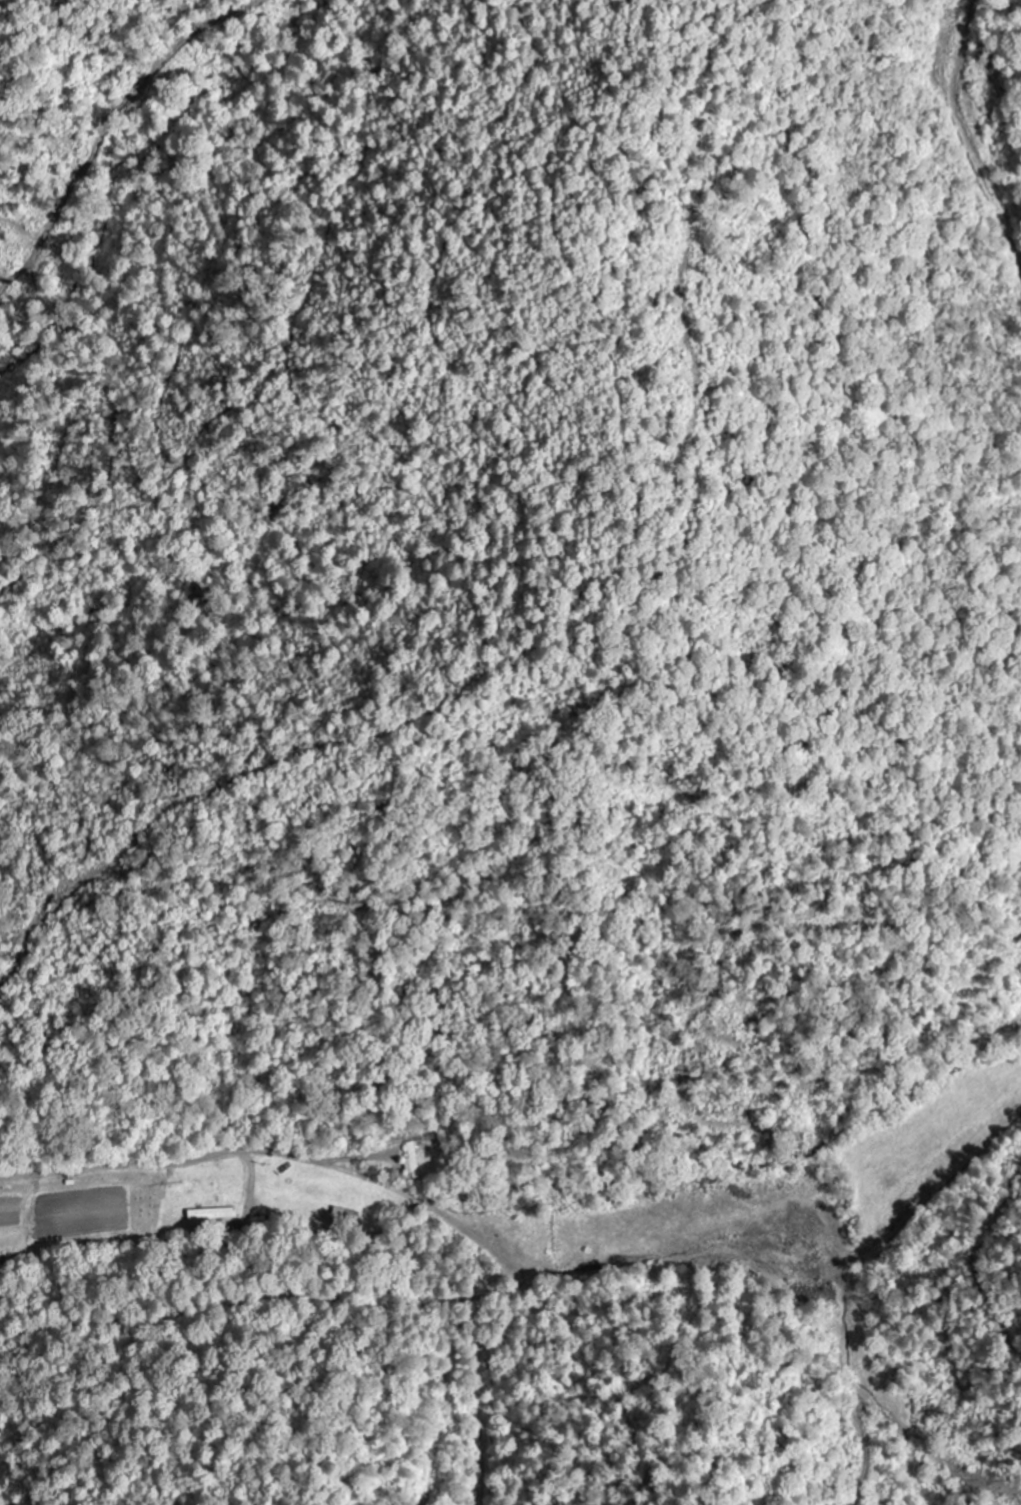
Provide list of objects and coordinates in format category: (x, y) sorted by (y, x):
building: (213, 1214)

